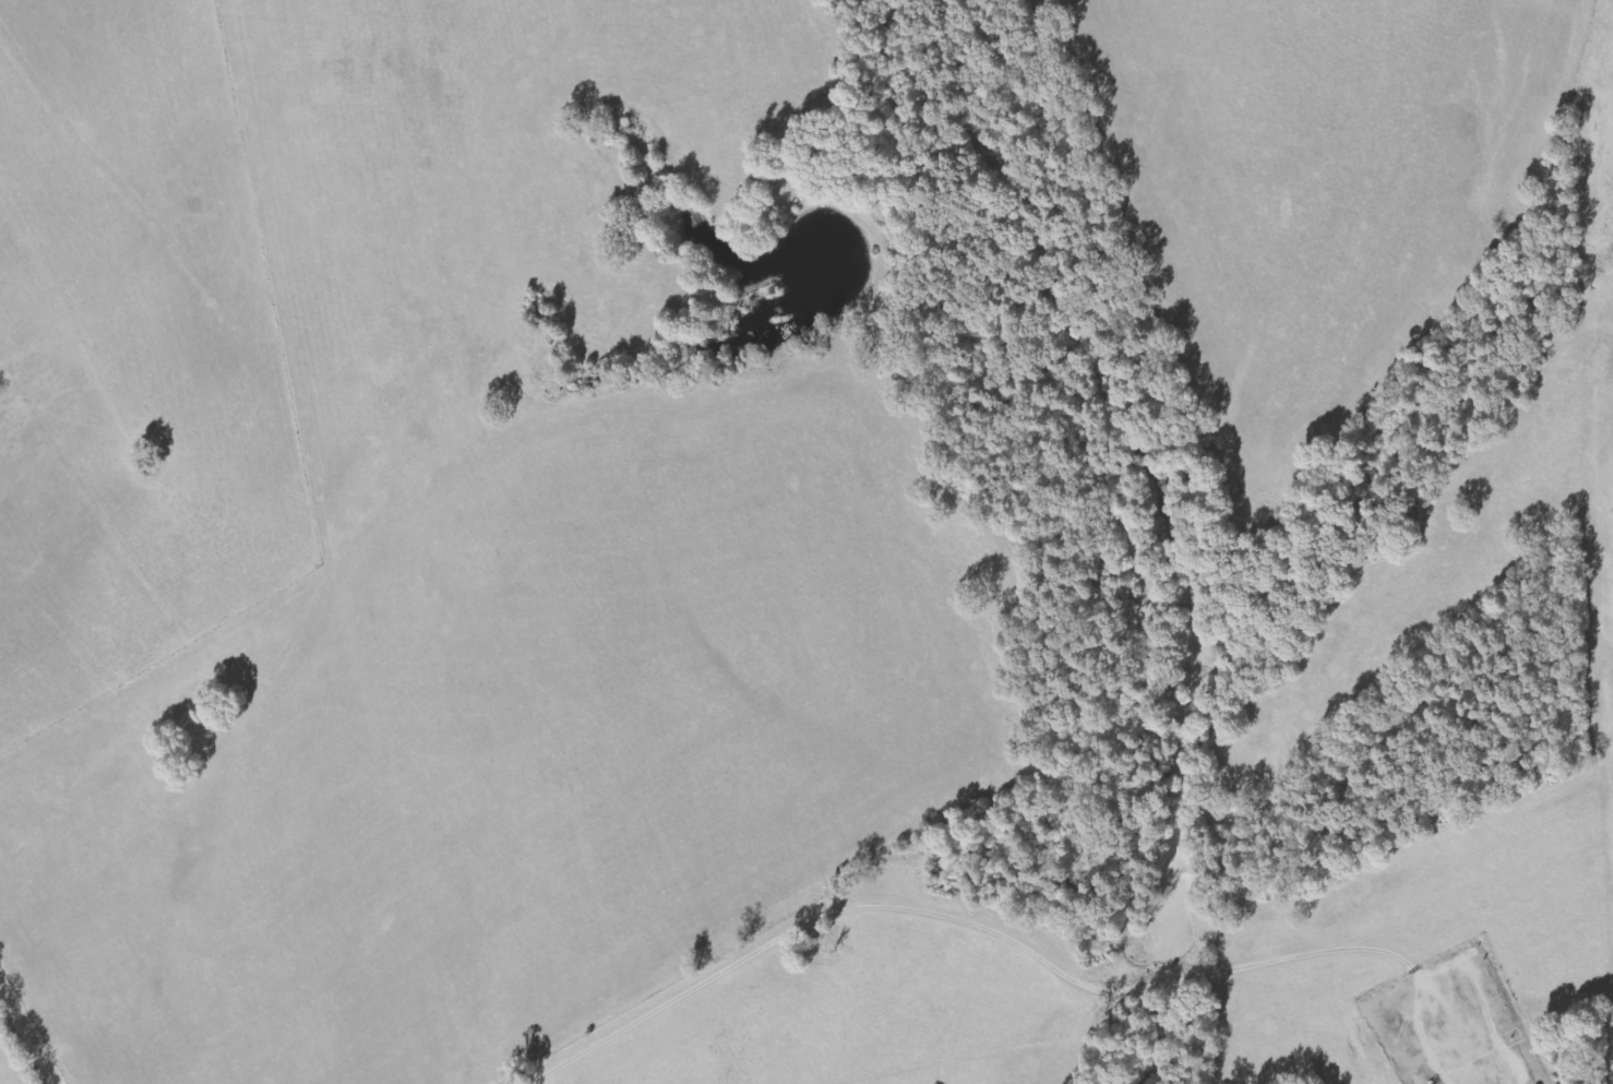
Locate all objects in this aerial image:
dam: (880, 245)
road: (22, 1046)

